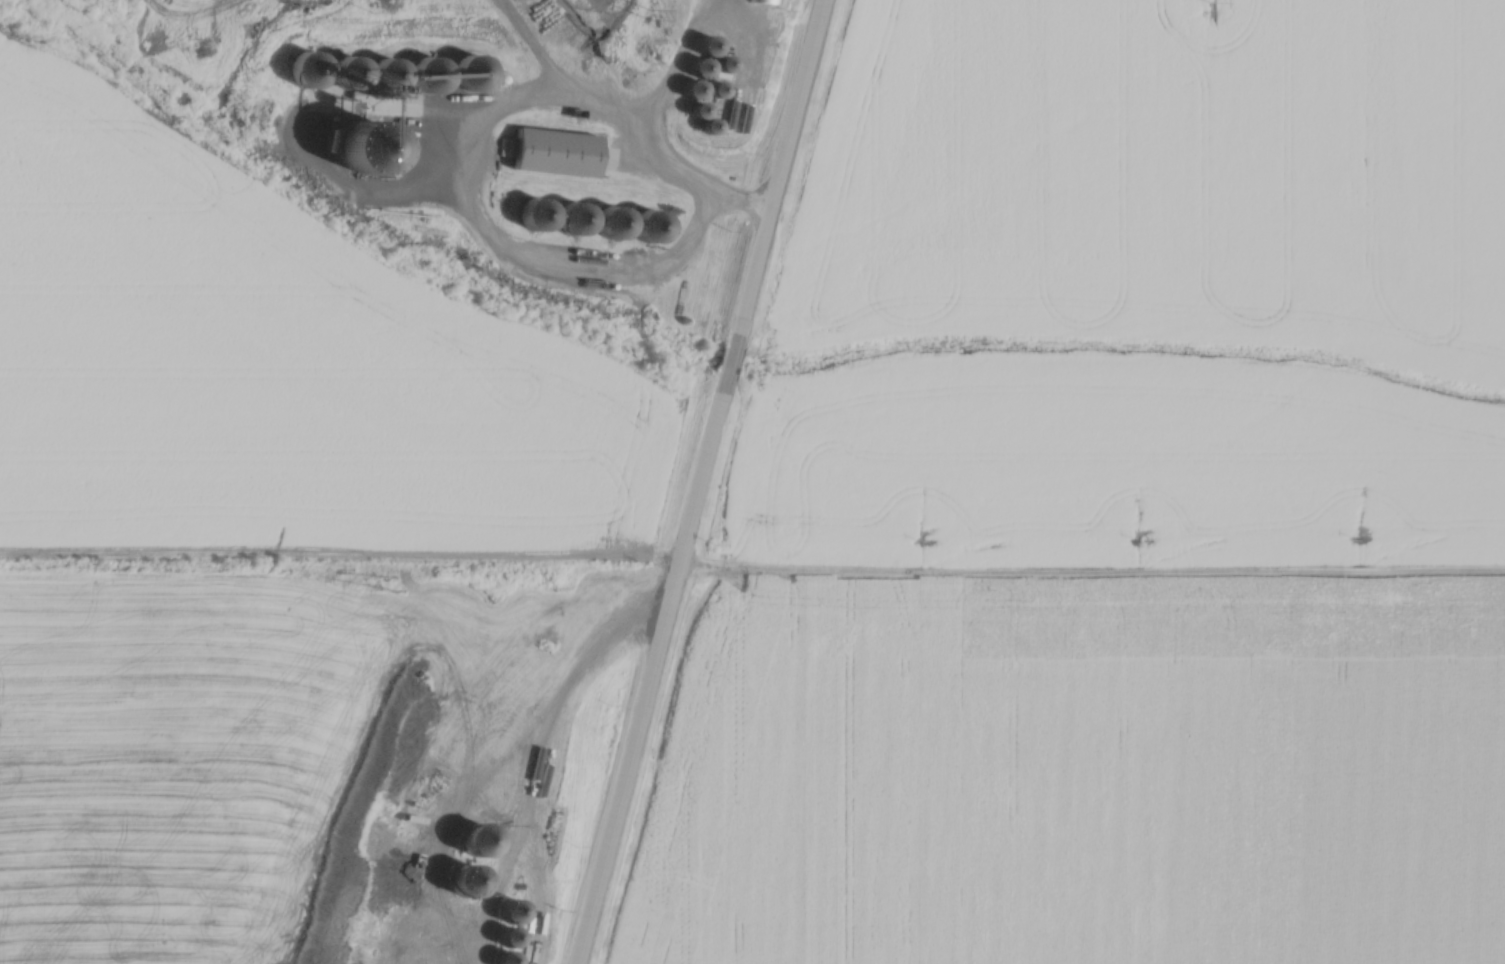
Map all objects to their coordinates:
building: (773, 0)
power tower: (370, 3)
power tower: (644, 6)
building: (311, 66)
building: (350, 69)
building: (472, 69)
building: (389, 71)
building: (431, 71)
building: (695, 84)
building: (718, 85)
road: (651, 134)
building: (556, 149)
road: (780, 176)
building: (539, 212)
building: (576, 216)
building: (615, 220)
building: (653, 224)
road: (731, 363)
road: (655, 669)
building: (512, 905)
building: (510, 931)
building: (506, 954)

